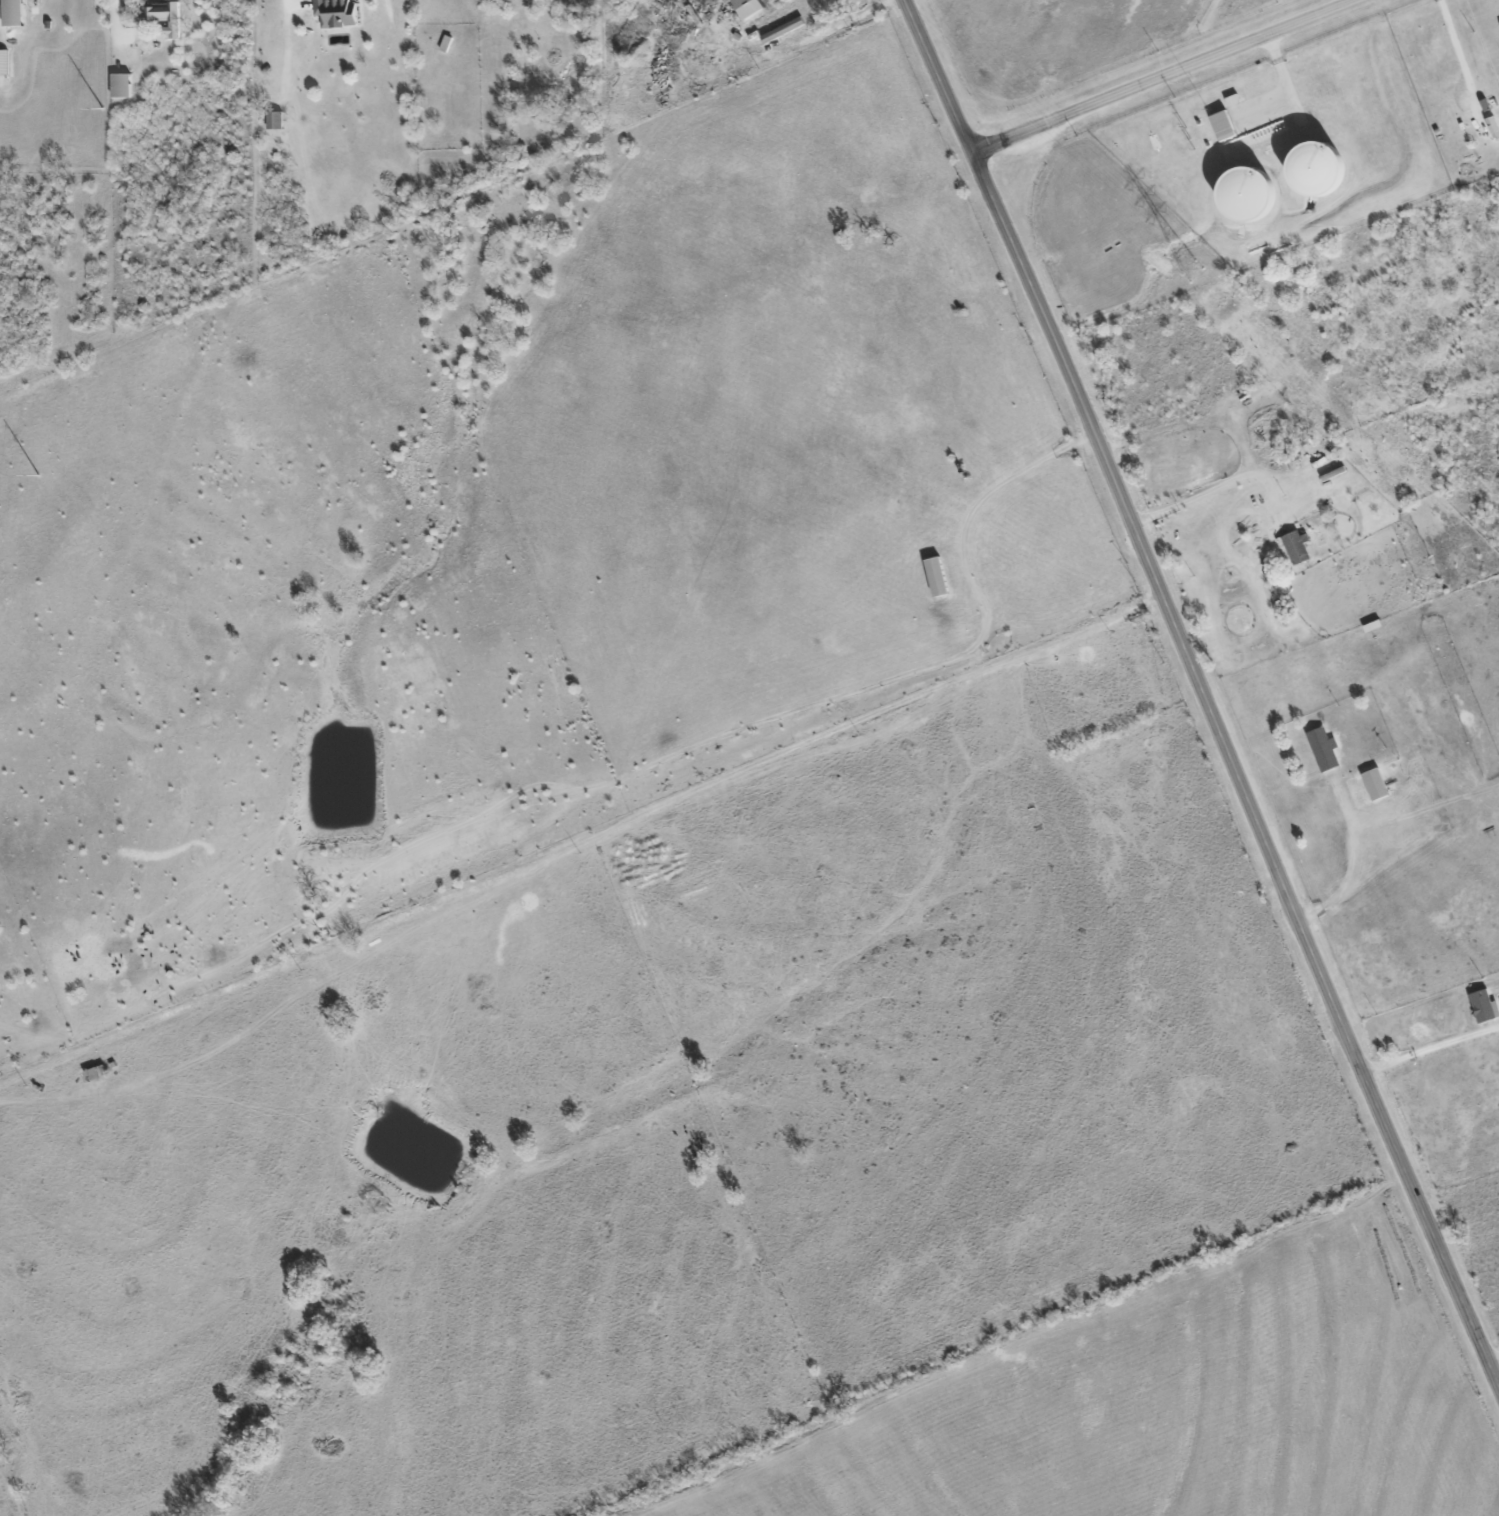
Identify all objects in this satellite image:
road: (295, 1)
building: (749, 8)
building: (14, 13)
building: (338, 13)
building: (166, 16)
road: (116, 20)
building: (783, 30)
road: (1456, 47)
road: (783, 48)
building: (4, 62)
road: (1166, 76)
building: (122, 86)
power tower: (101, 109)
building: (275, 120)
building: (1251, 194)
power tower: (1192, 272)
power tower: (37, 477)
road: (1204, 490)
building: (1294, 548)
building: (938, 577)
road: (1203, 692)
building: (1324, 750)
building: (1376, 784)
road: (1349, 866)
building: (1486, 1005)
road: (1431, 1051)
road: (1493, 1356)
road: (1498, 1380)

